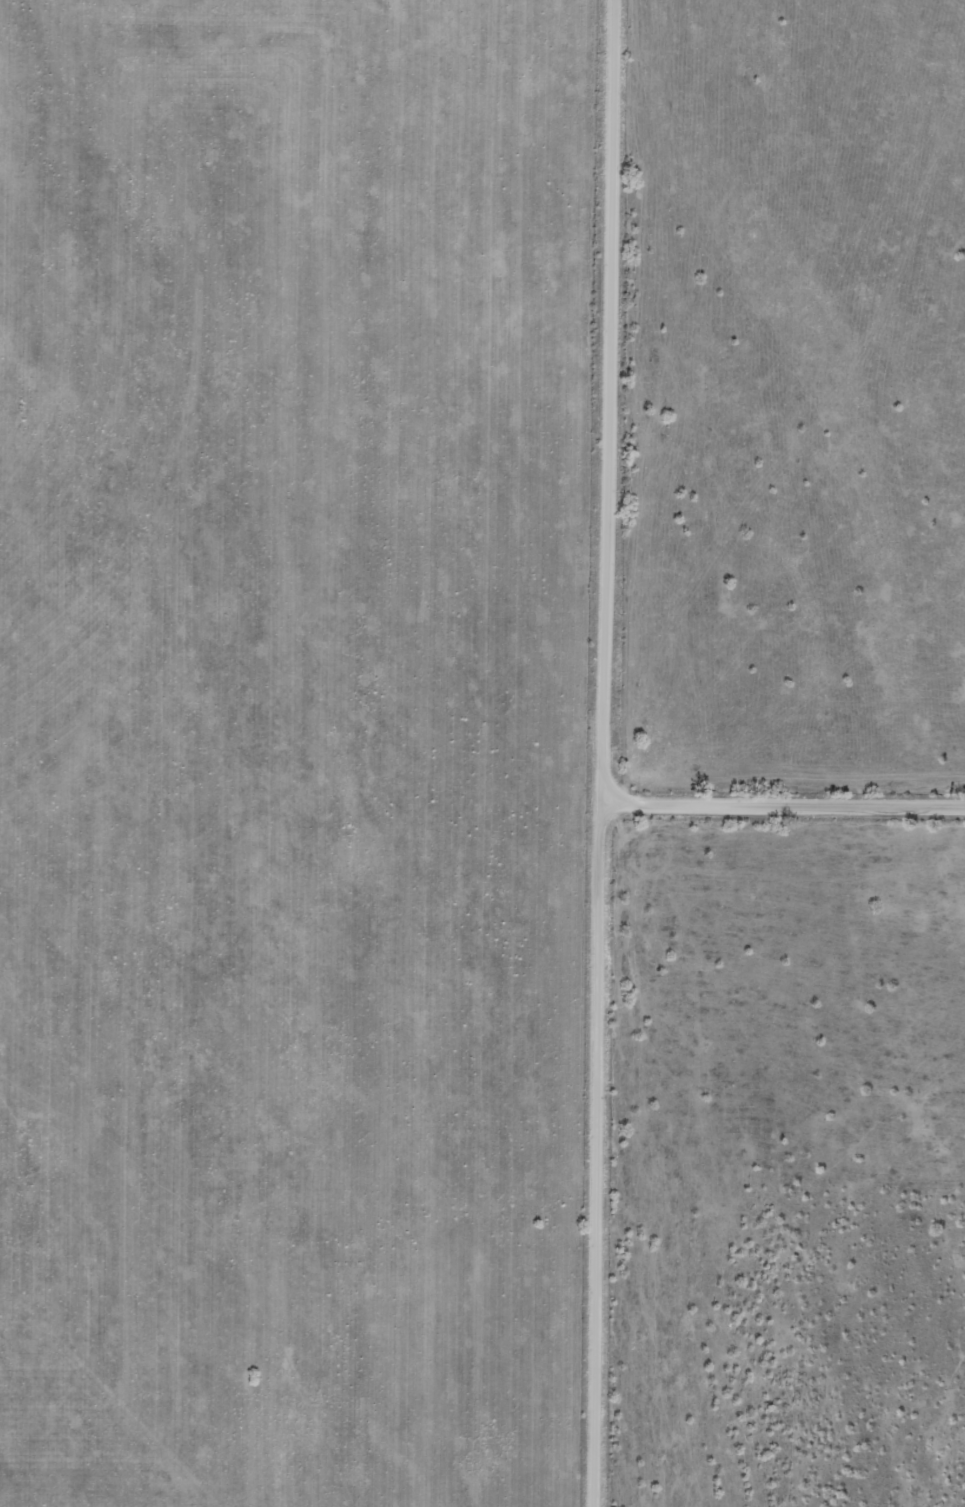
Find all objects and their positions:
road: (625, 753)
road: (795, 784)

